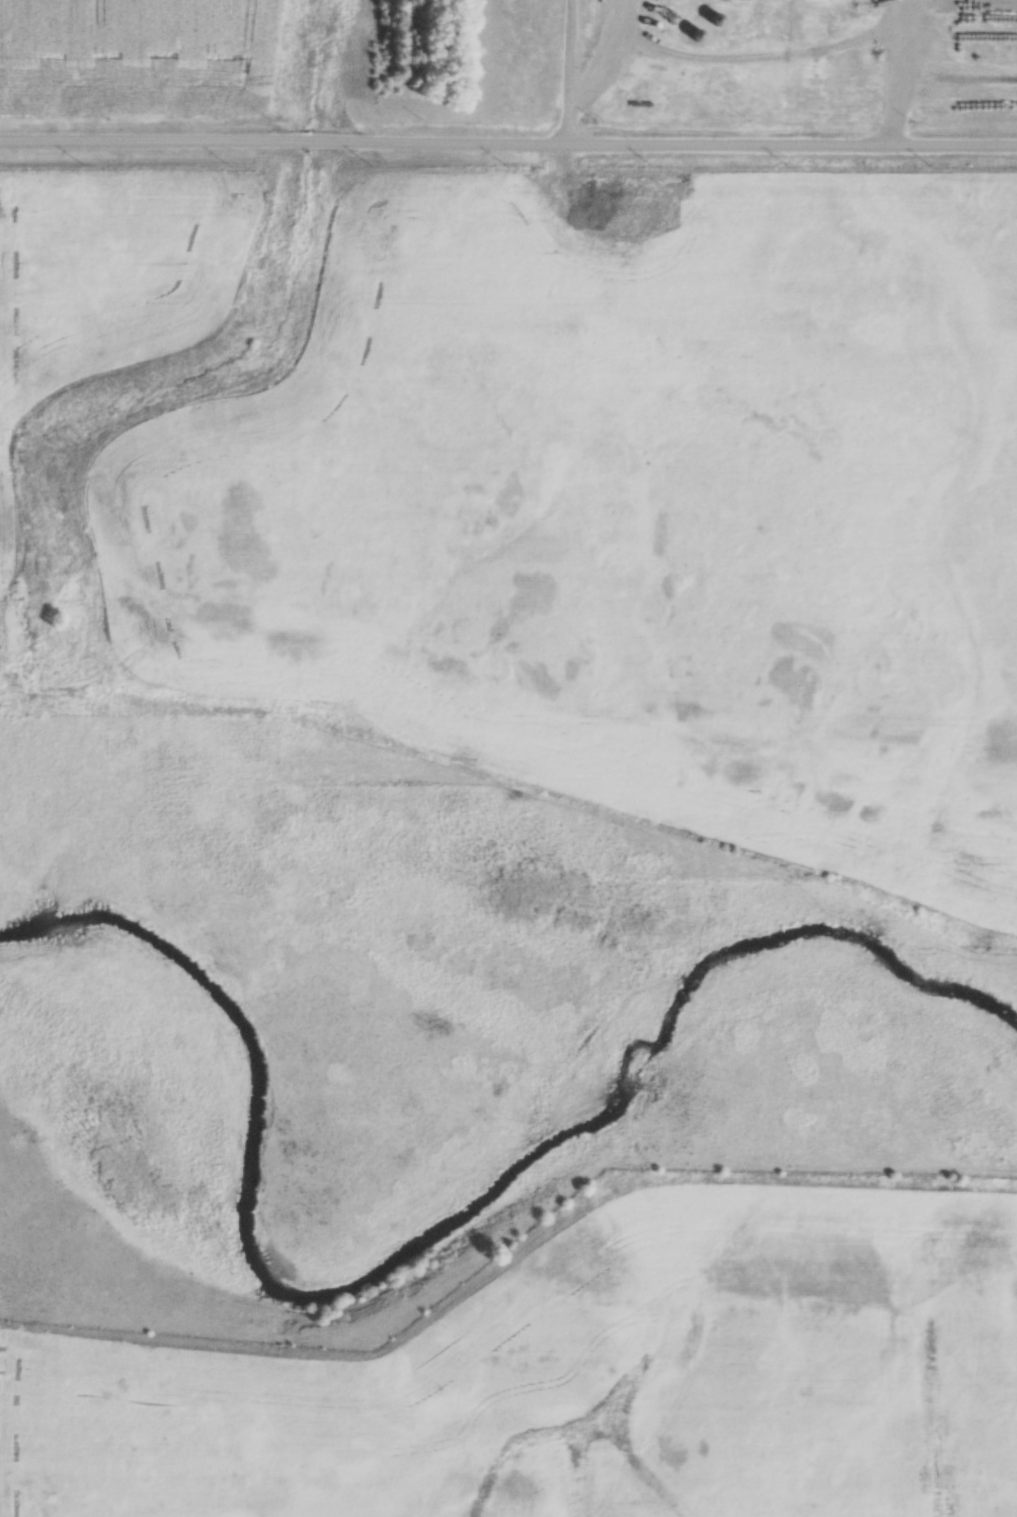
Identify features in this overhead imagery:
road: (895, 72)
road: (576, 87)
road: (570, 117)
road: (508, 143)

